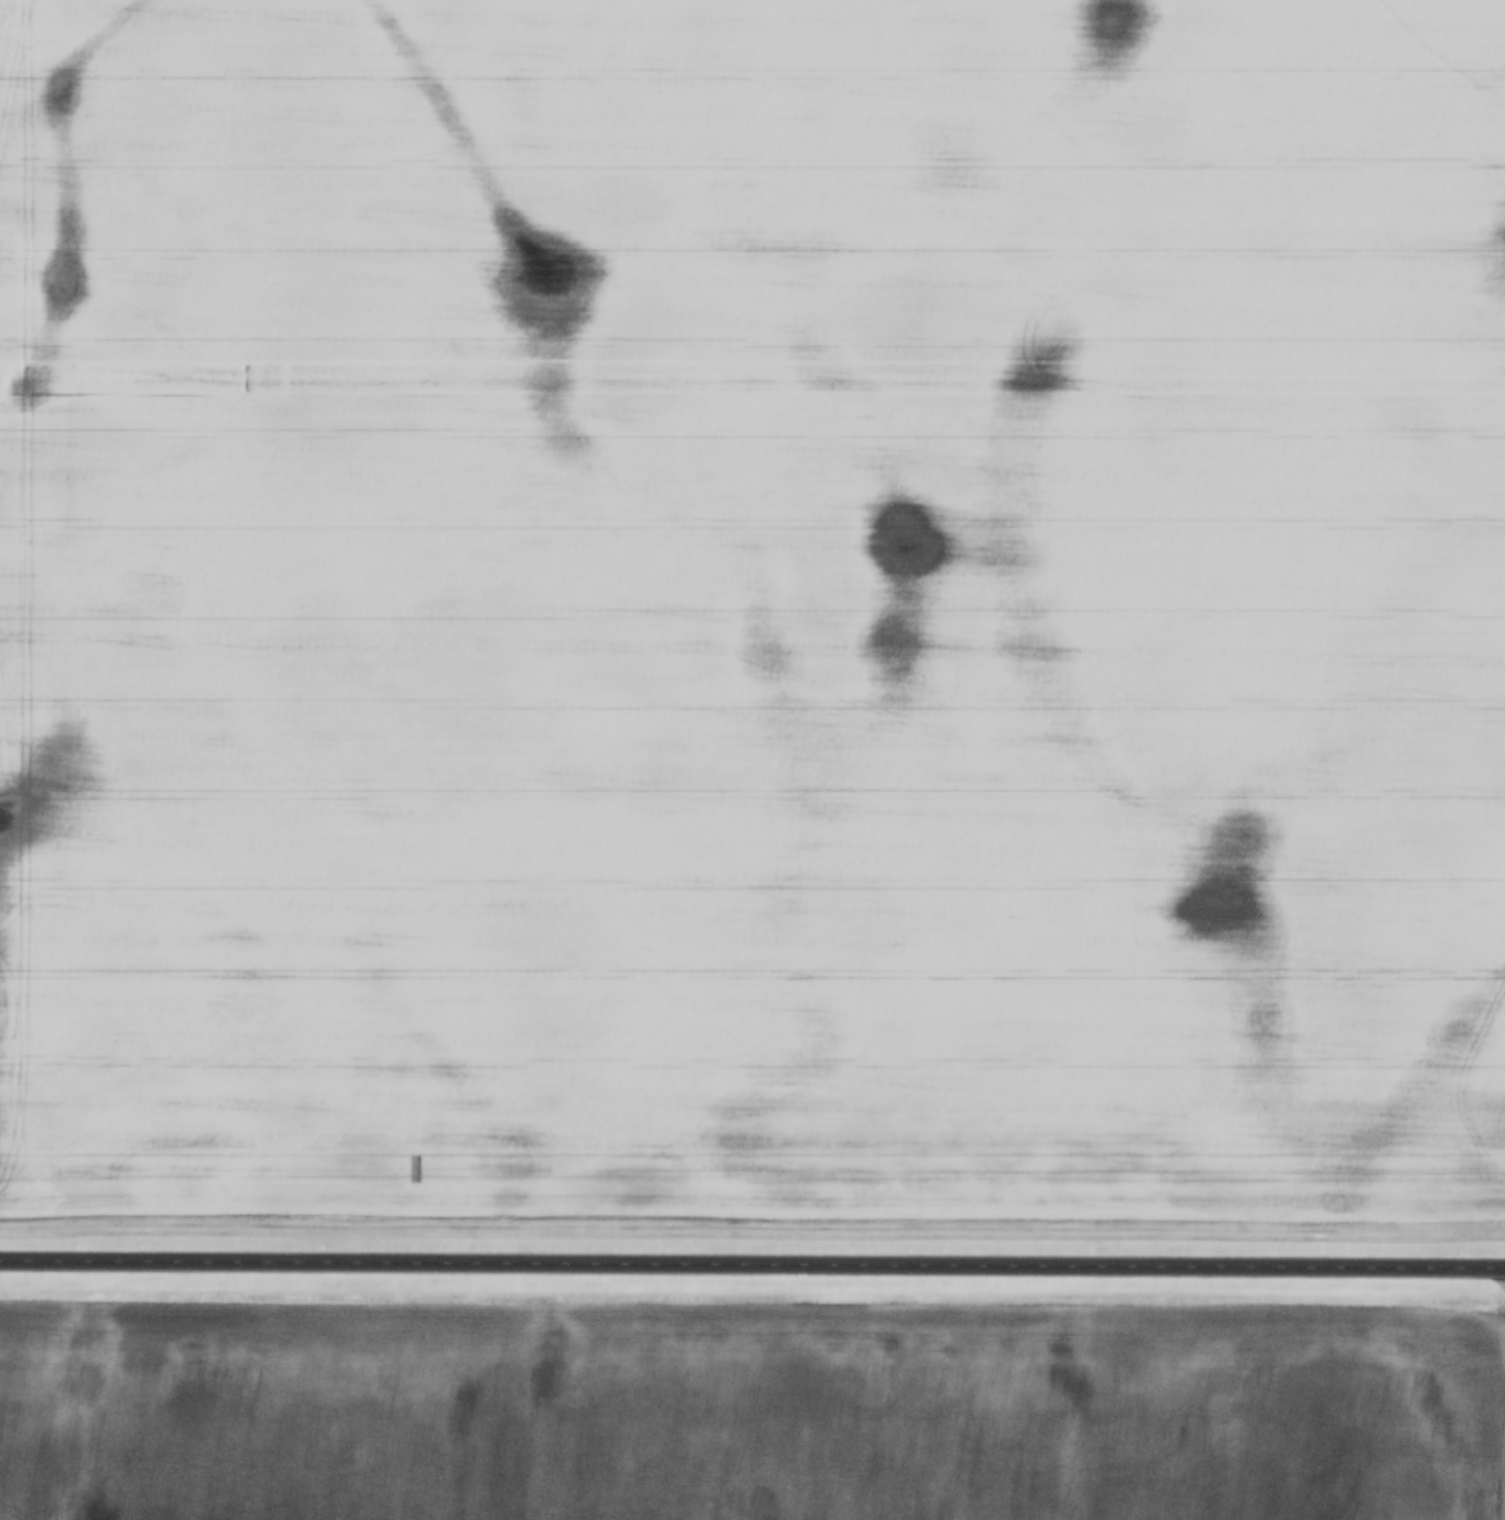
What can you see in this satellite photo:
road: (752, 1268)

